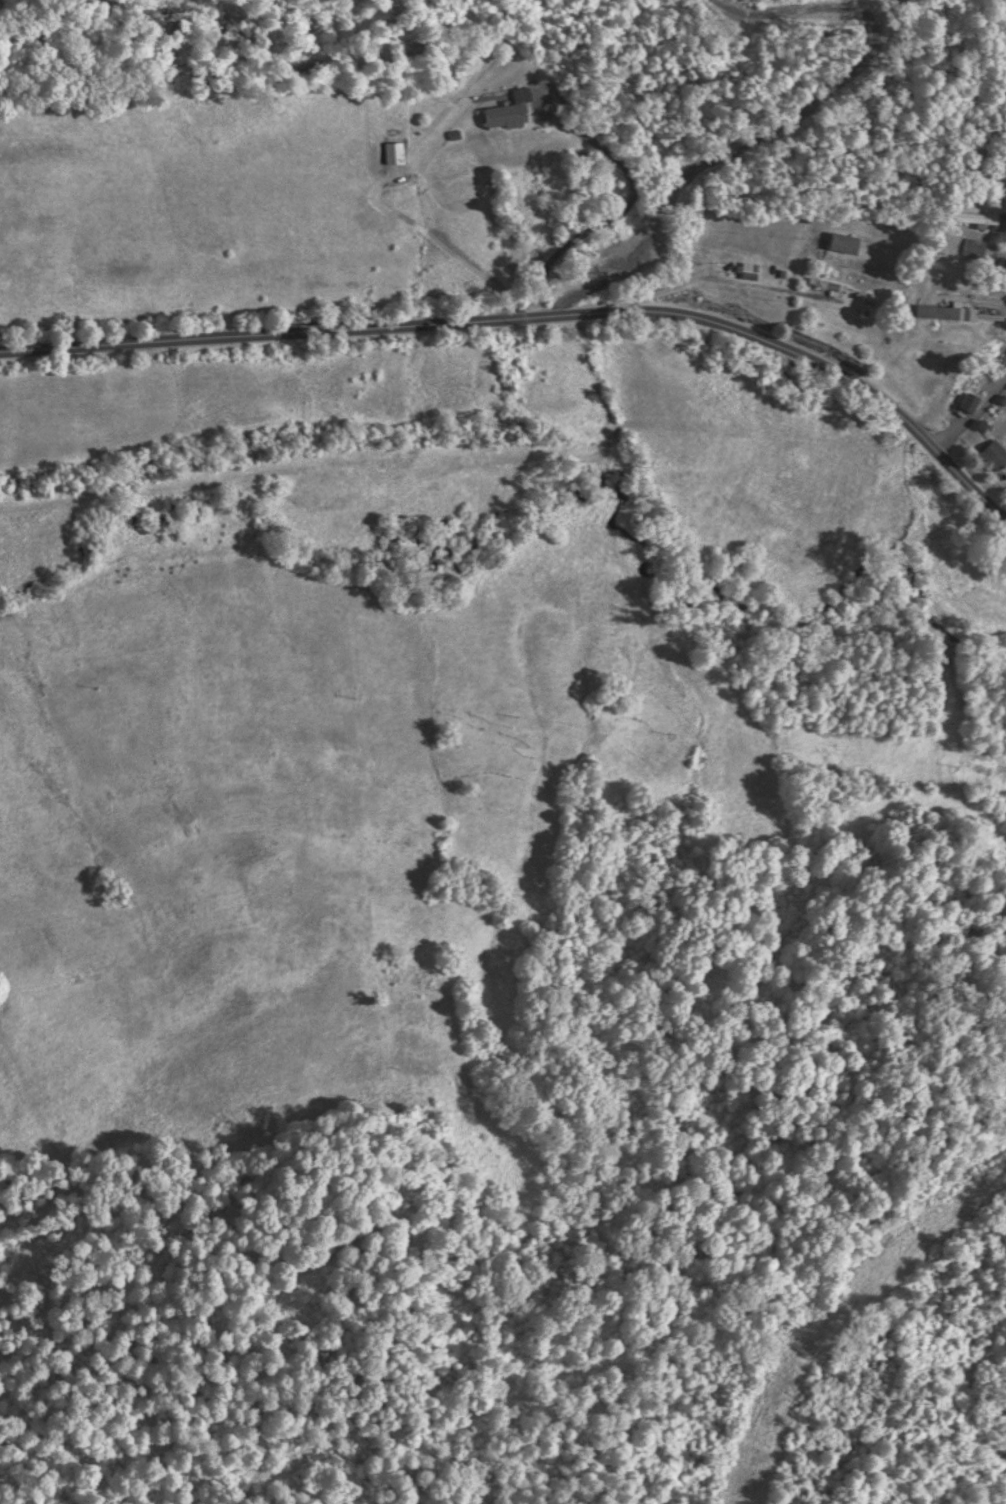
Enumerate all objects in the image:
building: (1005, 34)
building: (511, 114)
road: (932, 115)
building: (979, 221)
building: (846, 245)
building: (982, 254)
building: (751, 273)
road: (925, 316)
road: (423, 360)
building: (971, 405)
building: (995, 459)
road: (922, 470)

